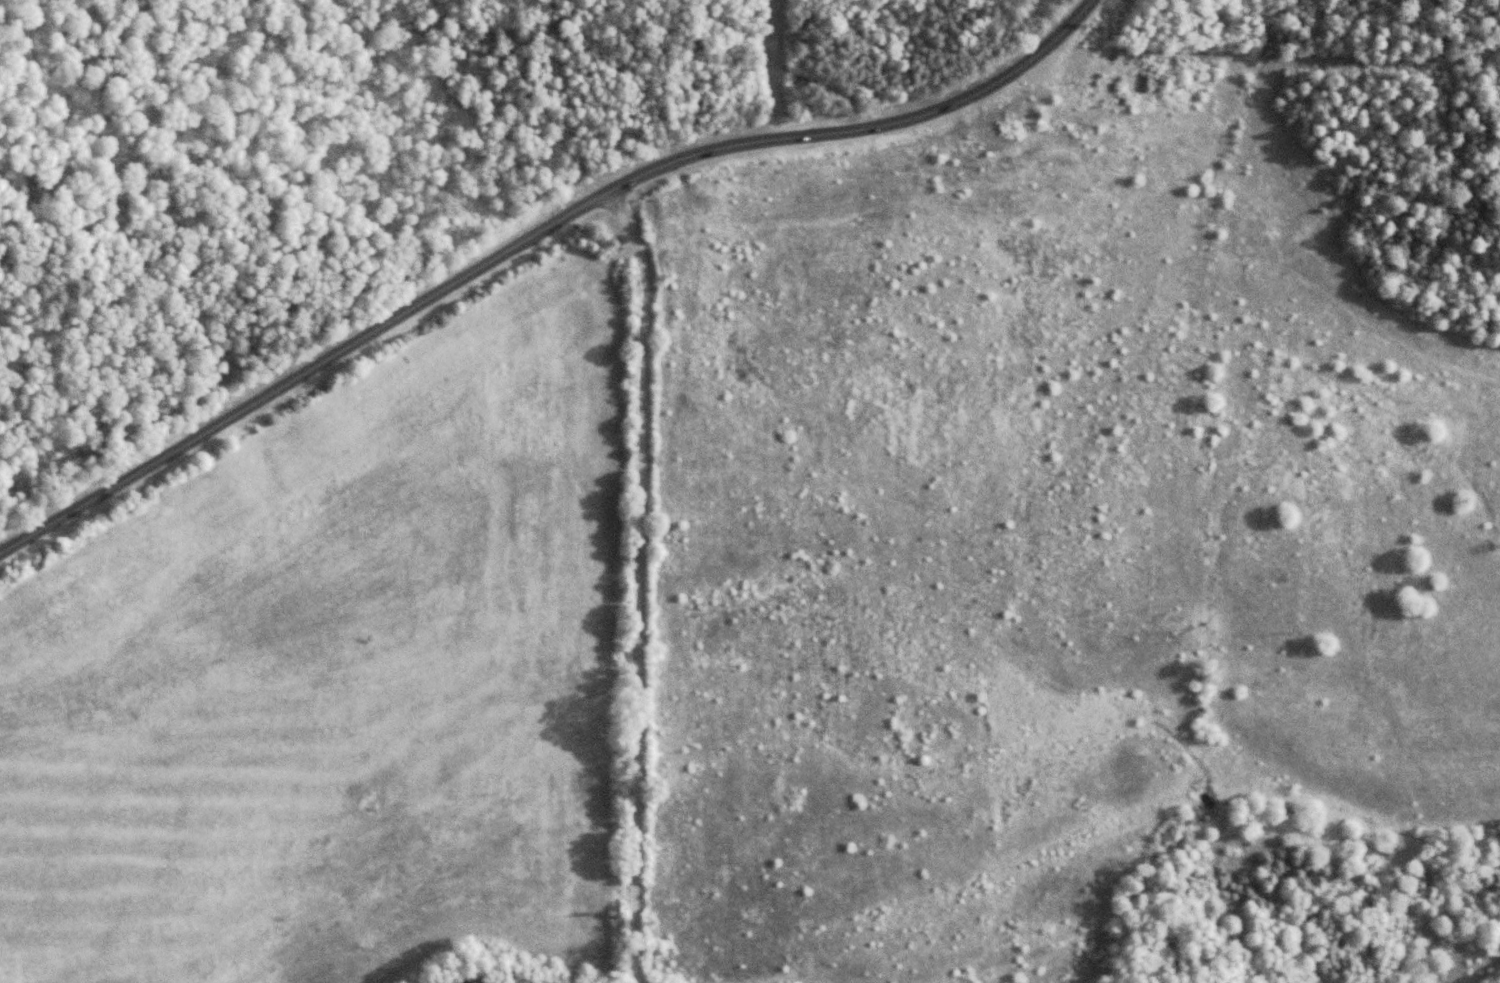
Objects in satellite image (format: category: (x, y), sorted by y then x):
road: (533, 237)
road: (639, 585)

